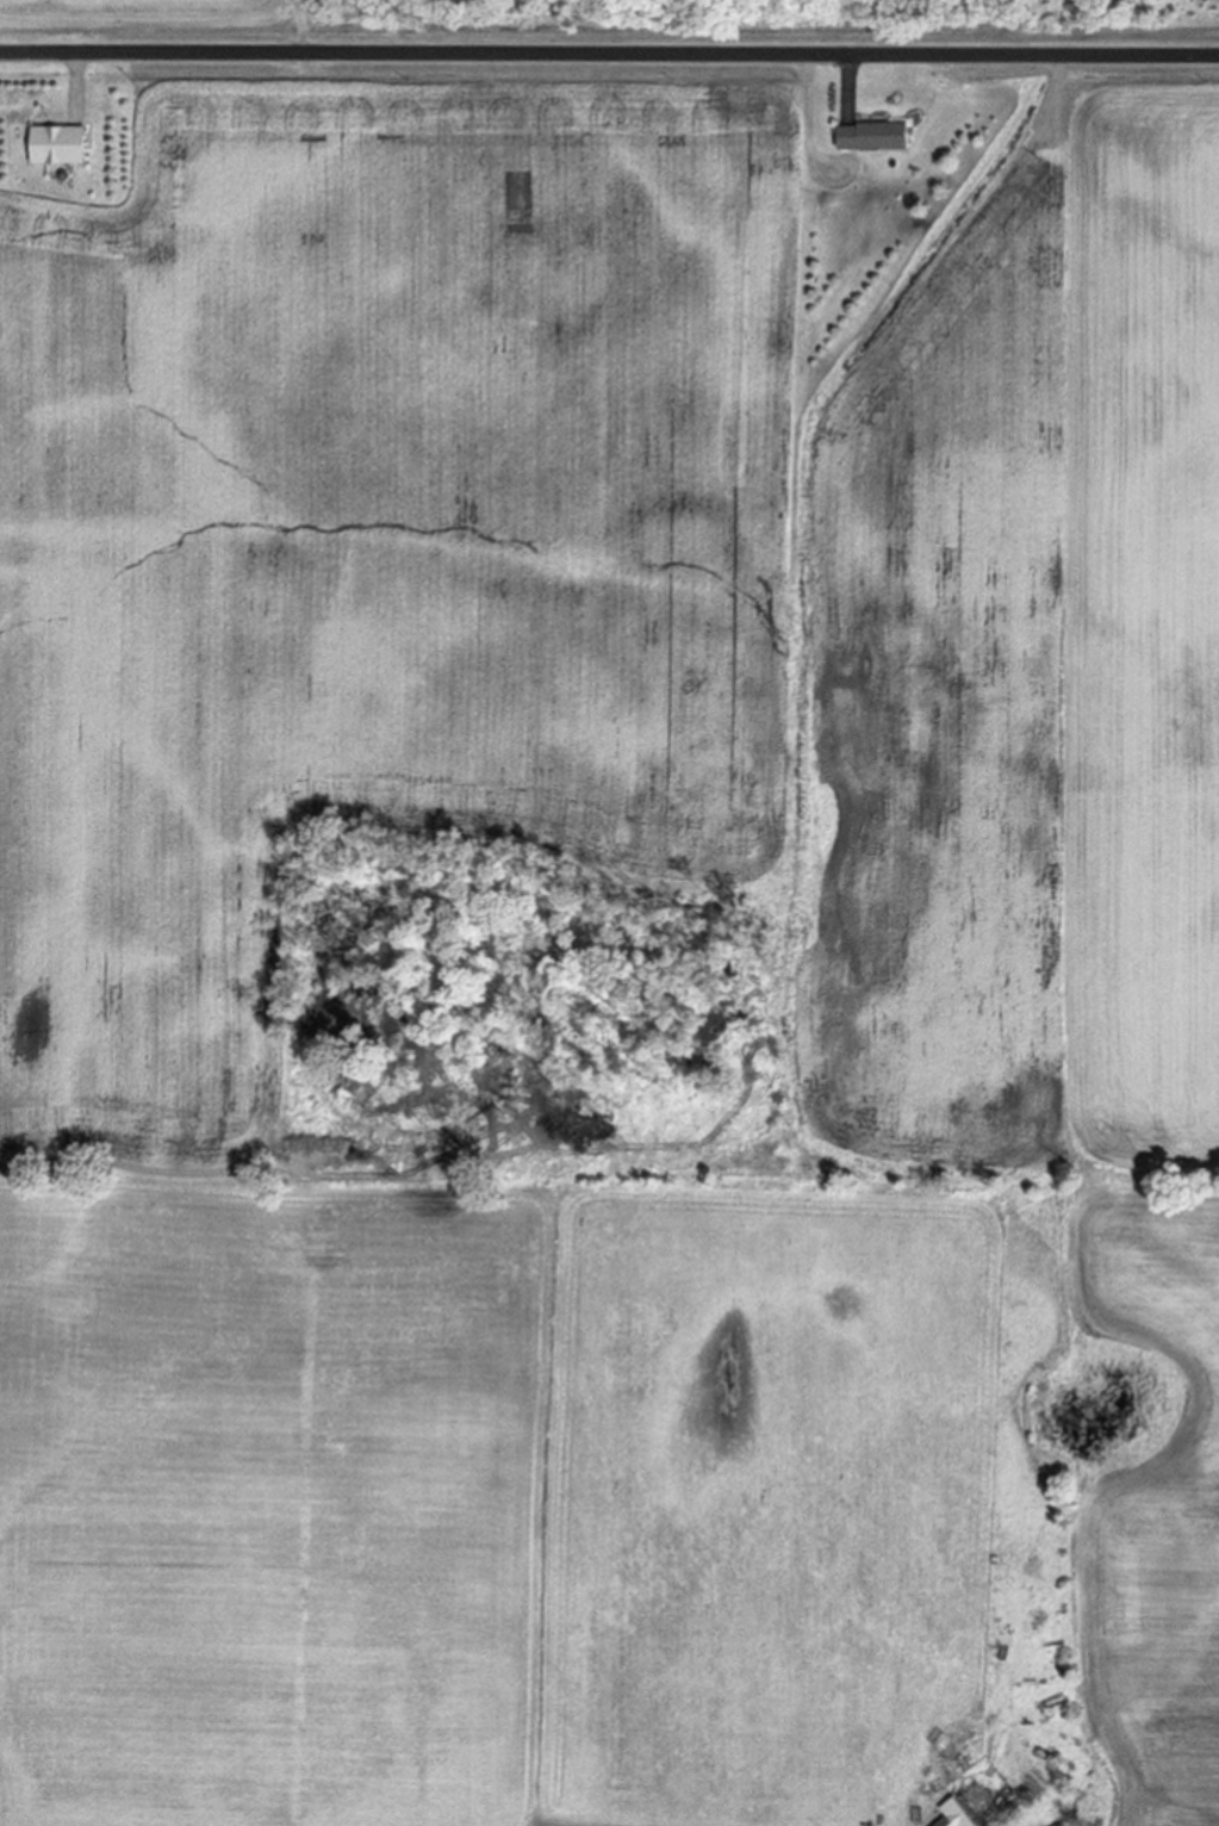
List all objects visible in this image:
road: (609, 54)
road: (76, 82)
road: (851, 83)
road: (809, 104)
building: (871, 136)
building: (56, 147)
building: (952, 1814)

